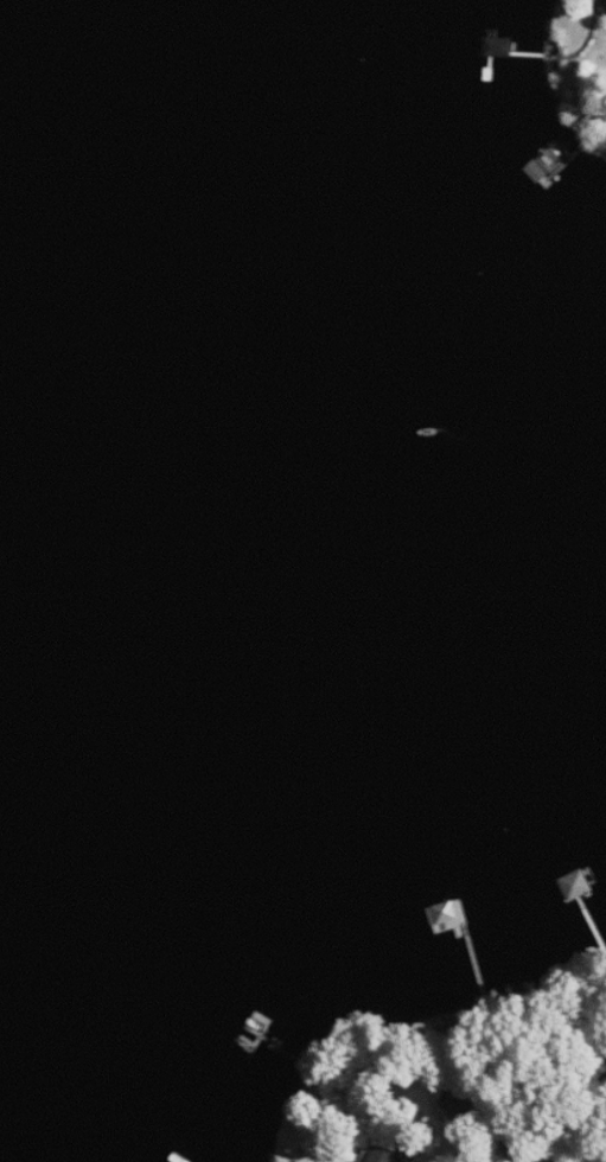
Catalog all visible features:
road: (543, 1100)

